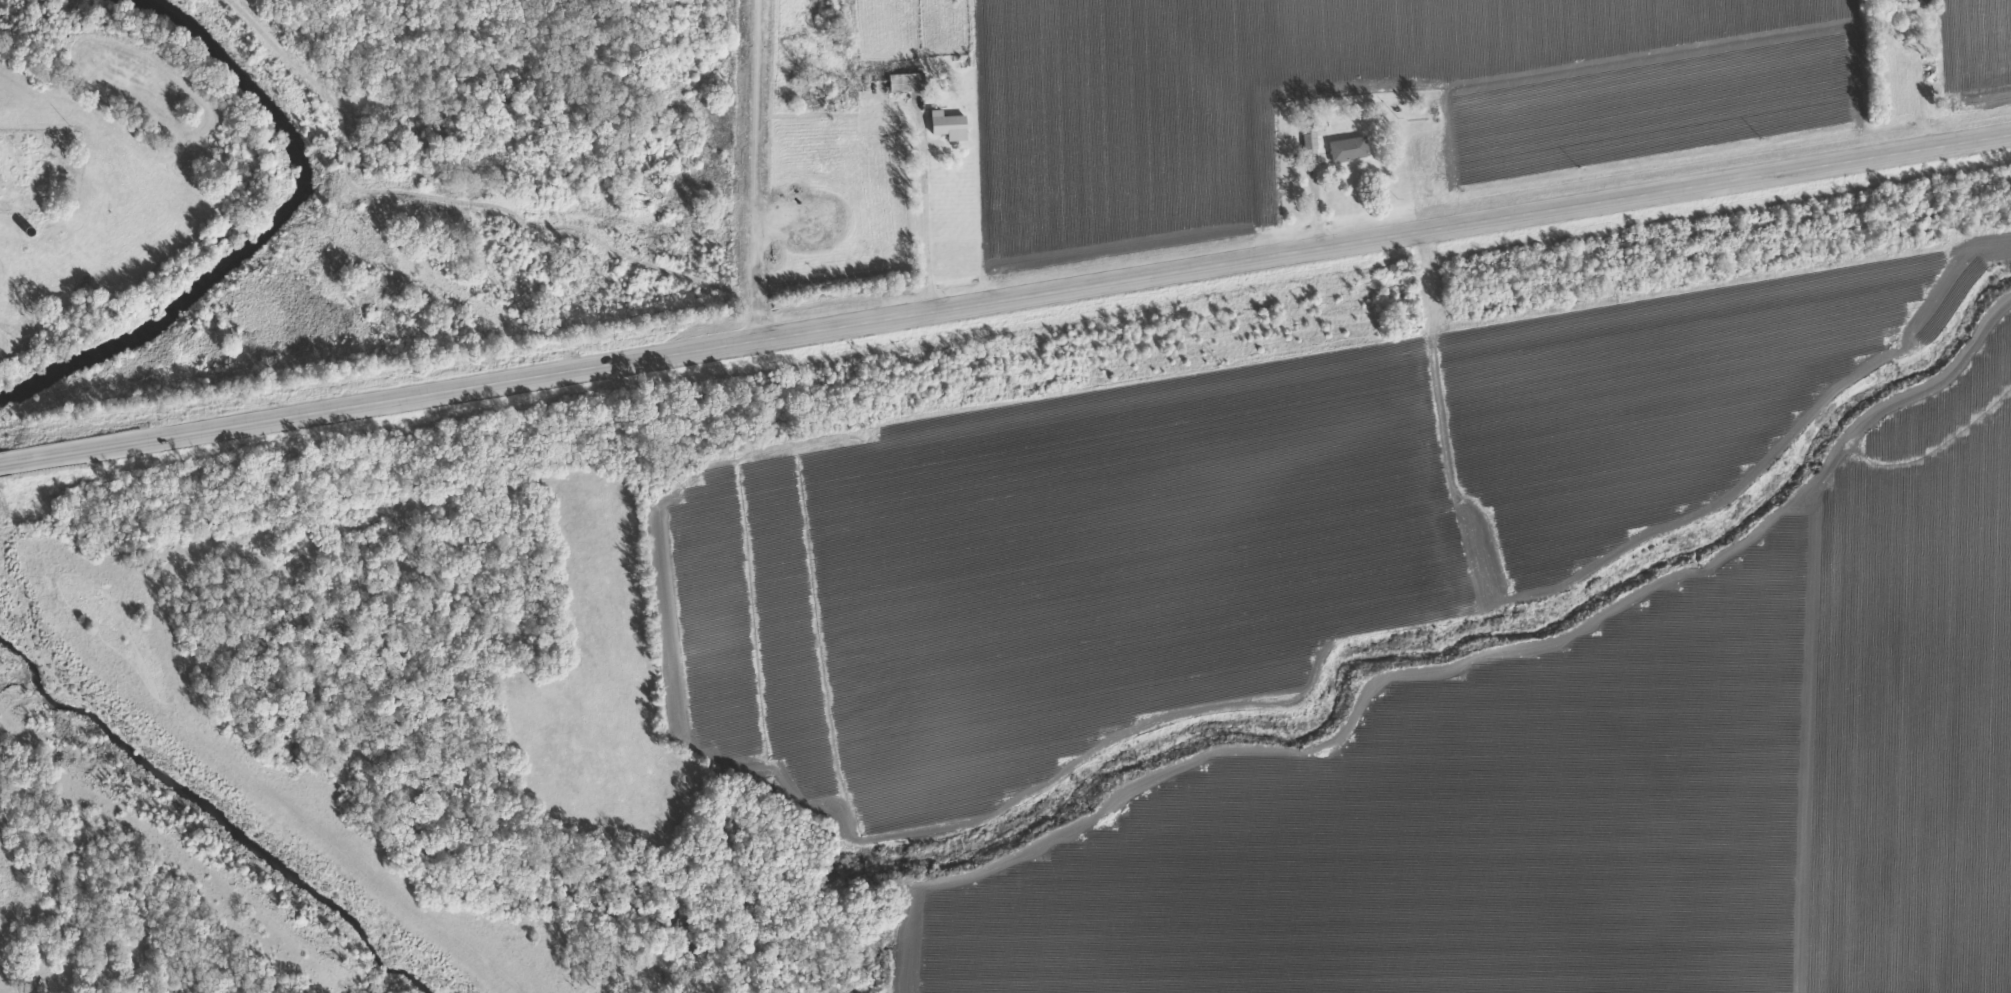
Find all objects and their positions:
building: (902, 83)
building: (944, 125)
building: (1347, 150)
river: (284, 221)
road: (1005, 293)
railway: (1005, 352)
river: (224, 794)

